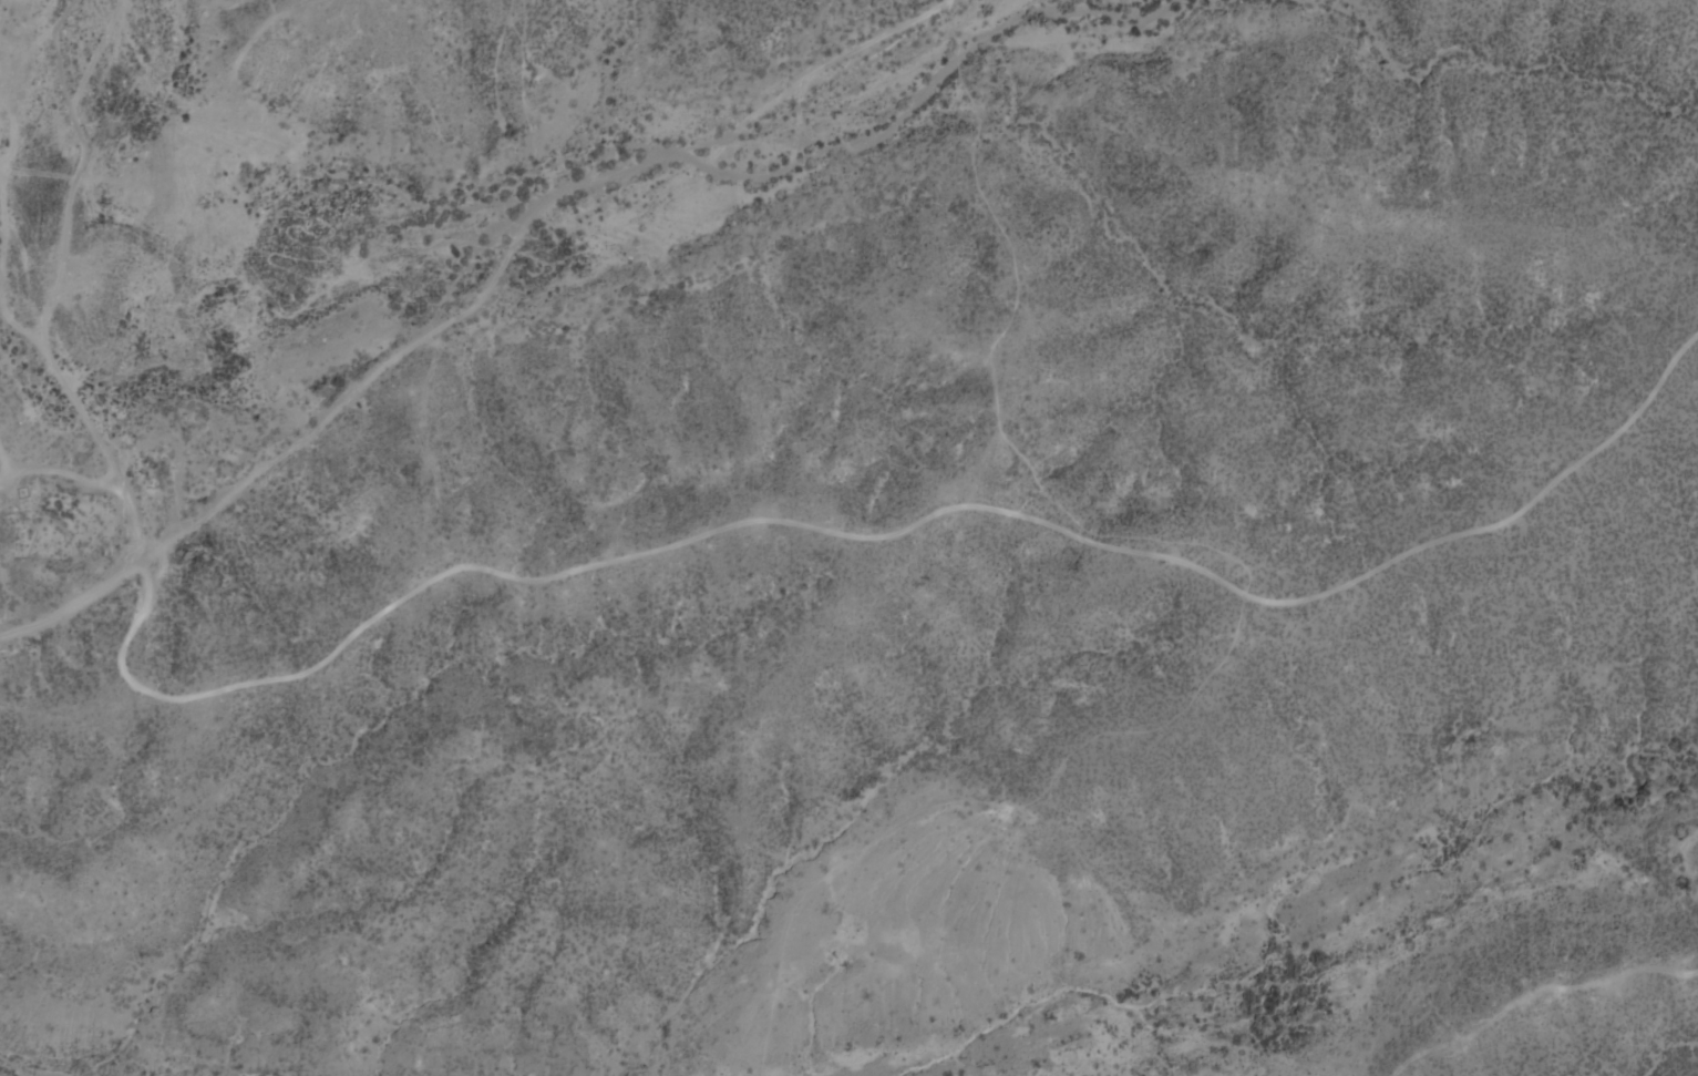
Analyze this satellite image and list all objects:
road: (2, 164)
road: (470, 305)
road: (7, 464)
road: (69, 473)
dam: (38, 489)
road: (578, 567)

